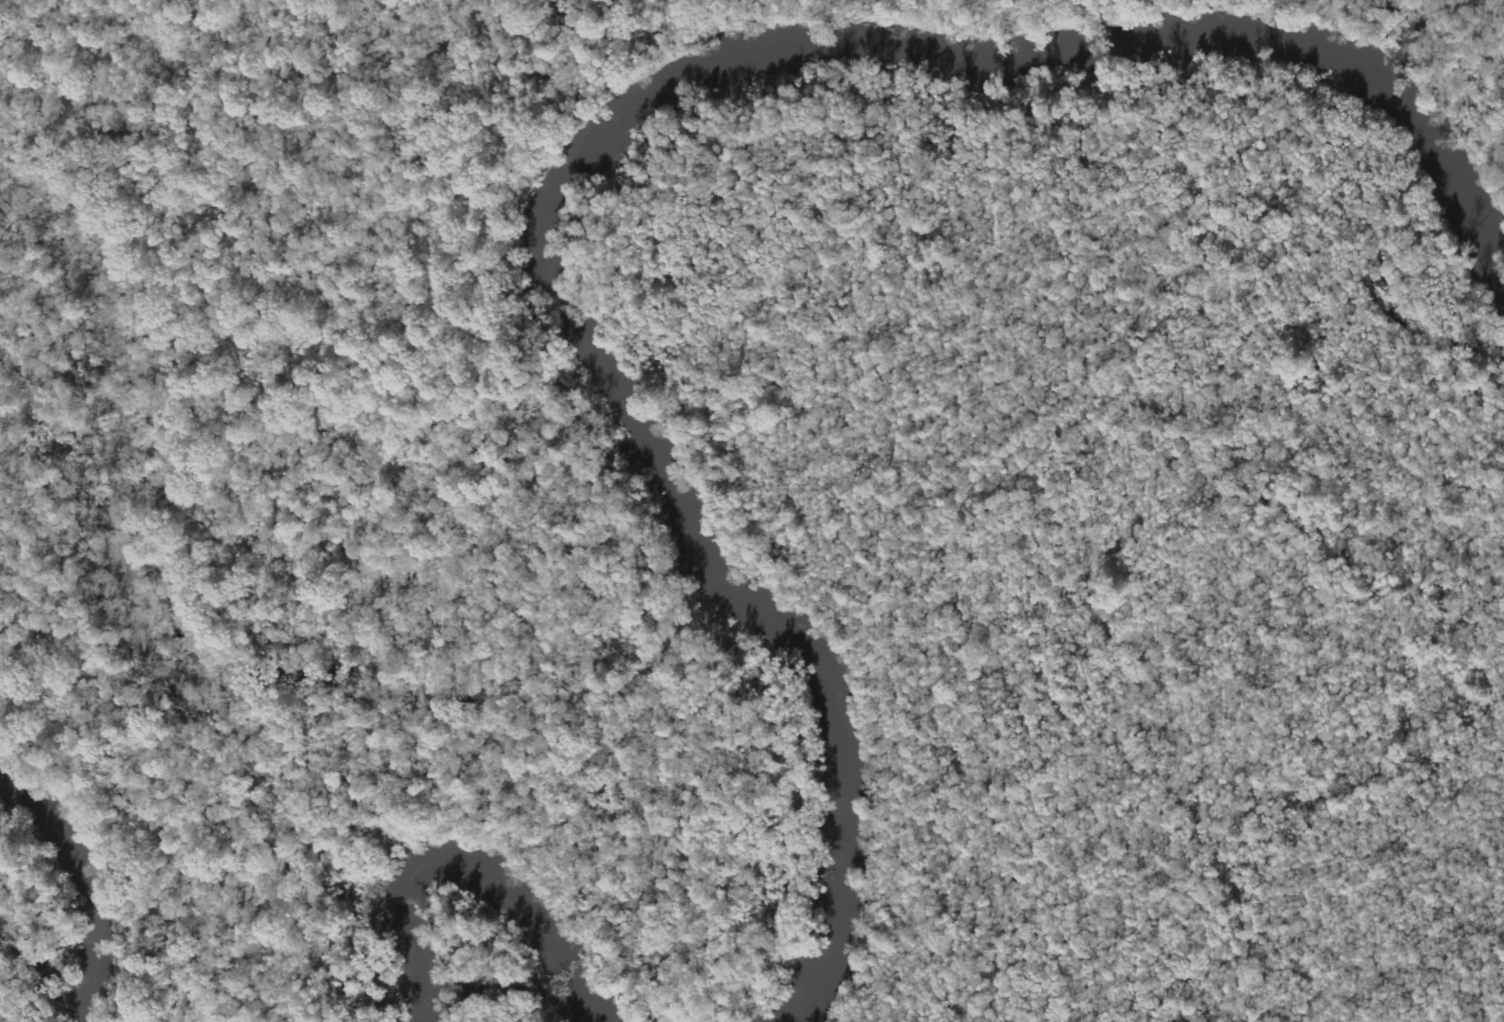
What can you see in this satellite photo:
river: (617, 128)
river: (460, 862)
river: (87, 881)

